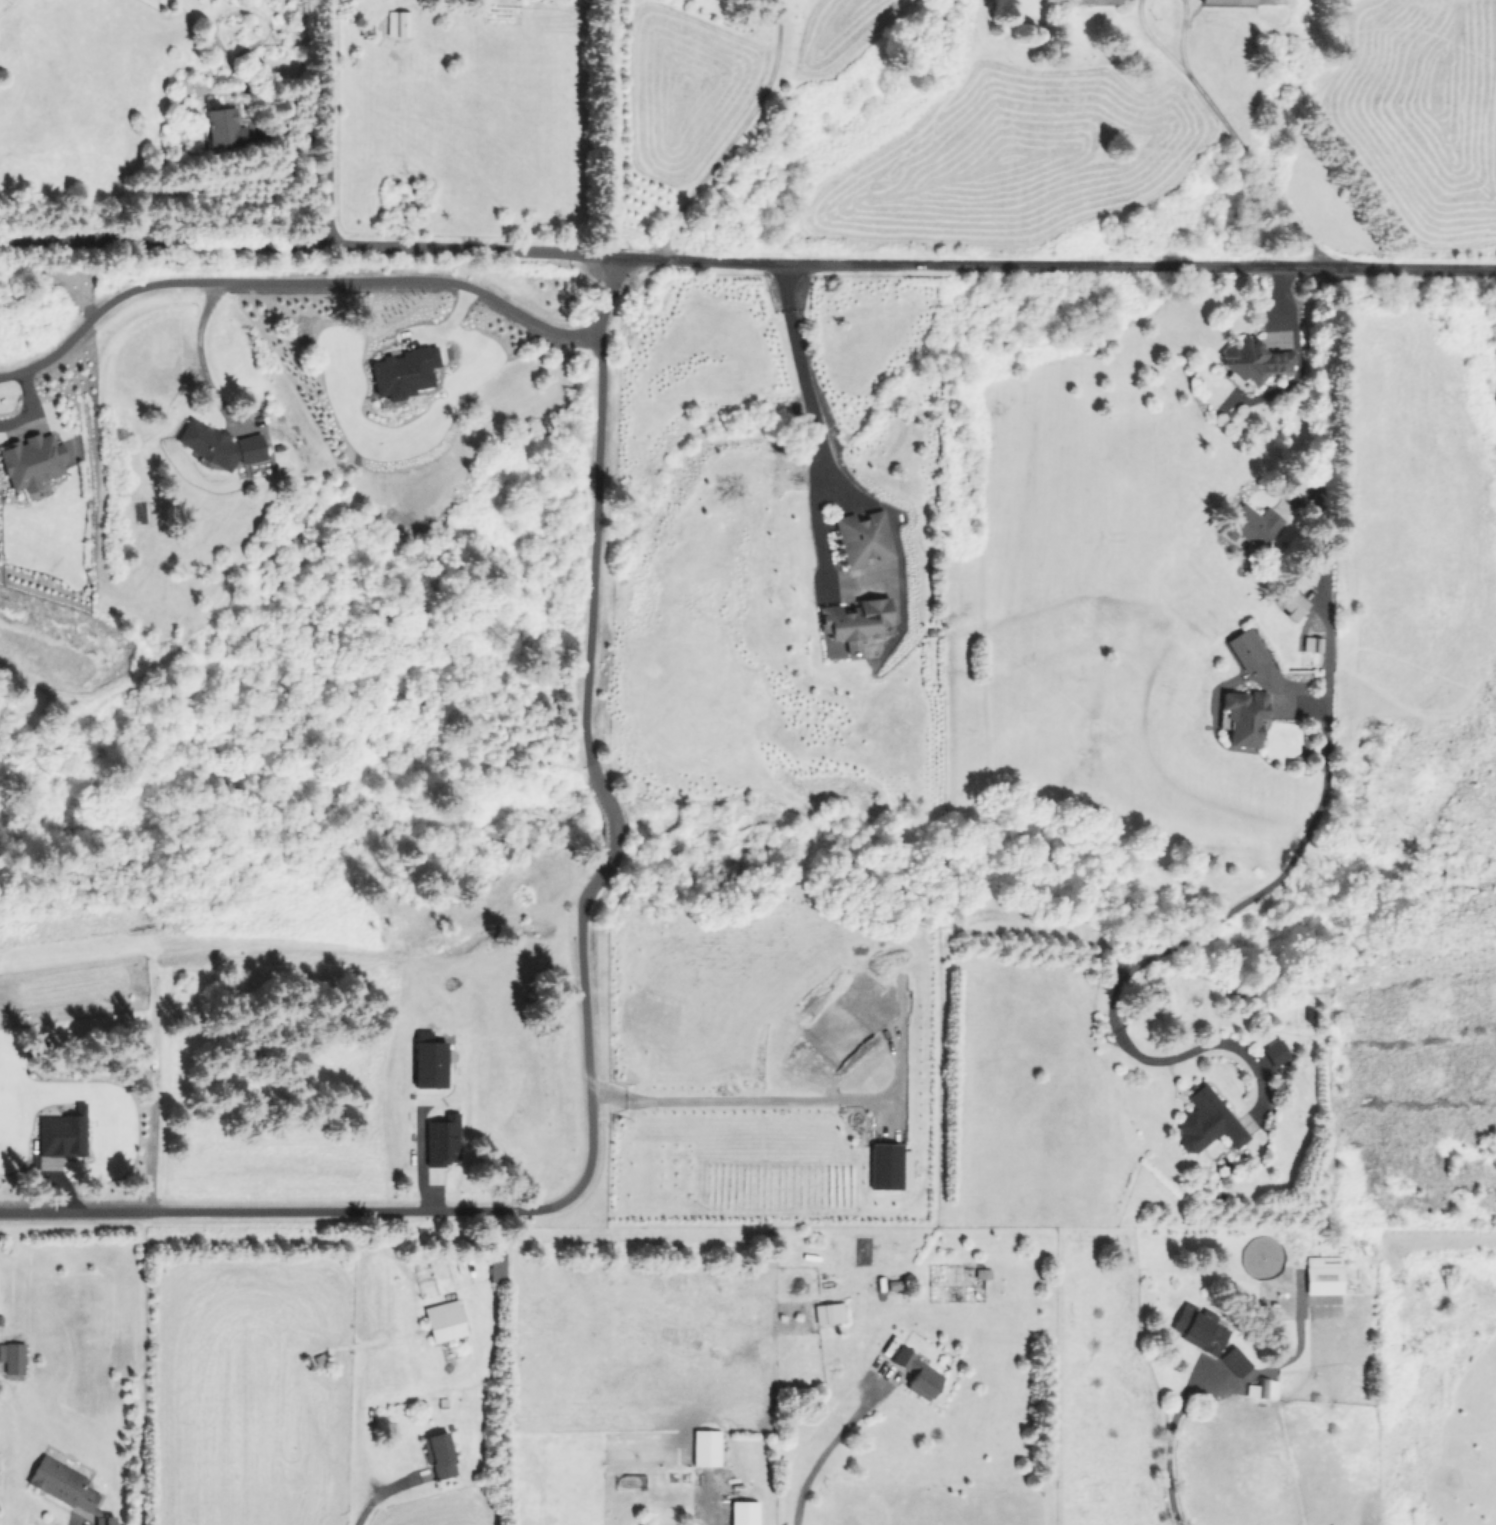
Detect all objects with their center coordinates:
building: (1095, 1)
building: (1243, 1)
building: (398, 23)
road: (1182, 36)
road: (1153, 41)
road: (329, 121)
building: (222, 126)
road: (734, 135)
road: (1257, 168)
road: (747, 262)
road: (290, 281)
road: (195, 348)
building: (1254, 360)
building: (403, 371)
road: (806, 381)
road: (30, 406)
building: (218, 444)
building: (31, 461)
road: (1327, 528)
building: (863, 537)
building: (1289, 602)
building: (1311, 644)
building: (1246, 649)
building: (1243, 716)
road: (584, 739)
road: (1229, 910)
road: (1192, 1049)
building: (1275, 1052)
building: (429, 1064)
road: (736, 1100)
building: (1206, 1121)
building: (62, 1133)
building: (441, 1139)
building: (888, 1166)
road: (284, 1210)
building: (496, 1266)
building: (1322, 1275)
building: (828, 1313)
building: (443, 1320)
building: (1198, 1329)
building: (12, 1357)
building: (1234, 1361)
building: (916, 1373)
building: (1261, 1388)
road: (1165, 1444)
building: (705, 1447)
road: (825, 1450)
building: (439, 1455)
building: (65, 1487)
road: (374, 1496)
building: (742, 1512)

